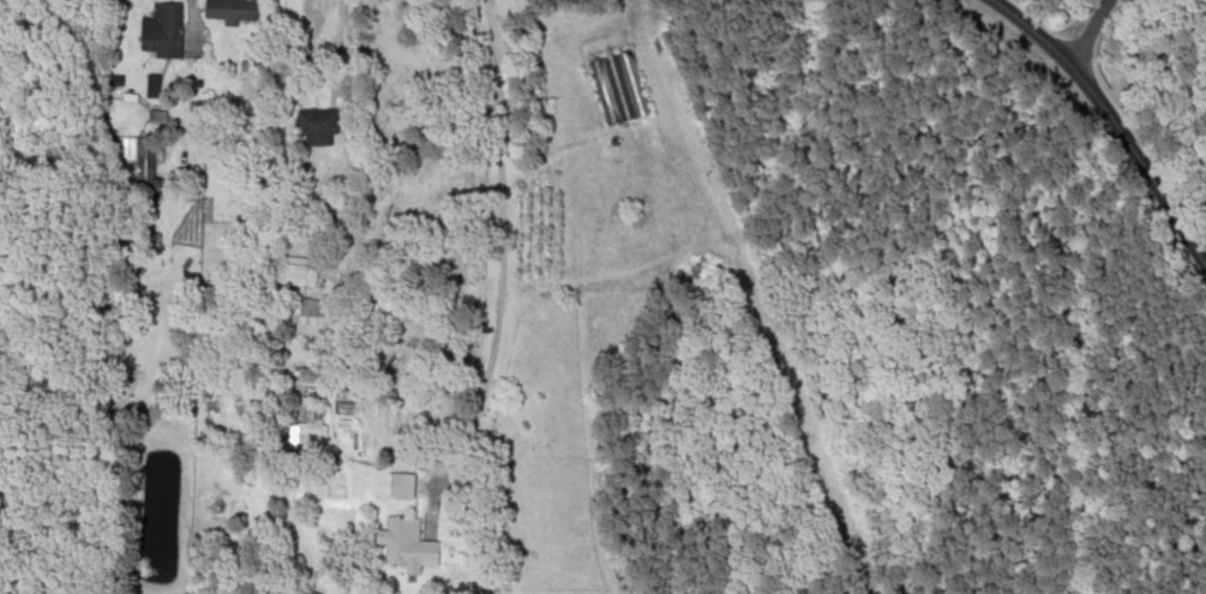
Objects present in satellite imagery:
building: (223, 11)
road: (190, 22)
building: (160, 30)
road: (1088, 35)
building: (617, 86)
road: (1105, 118)
building: (313, 121)
building: (143, 158)
building: (286, 270)
road: (496, 299)
building: (312, 318)
building: (394, 533)

